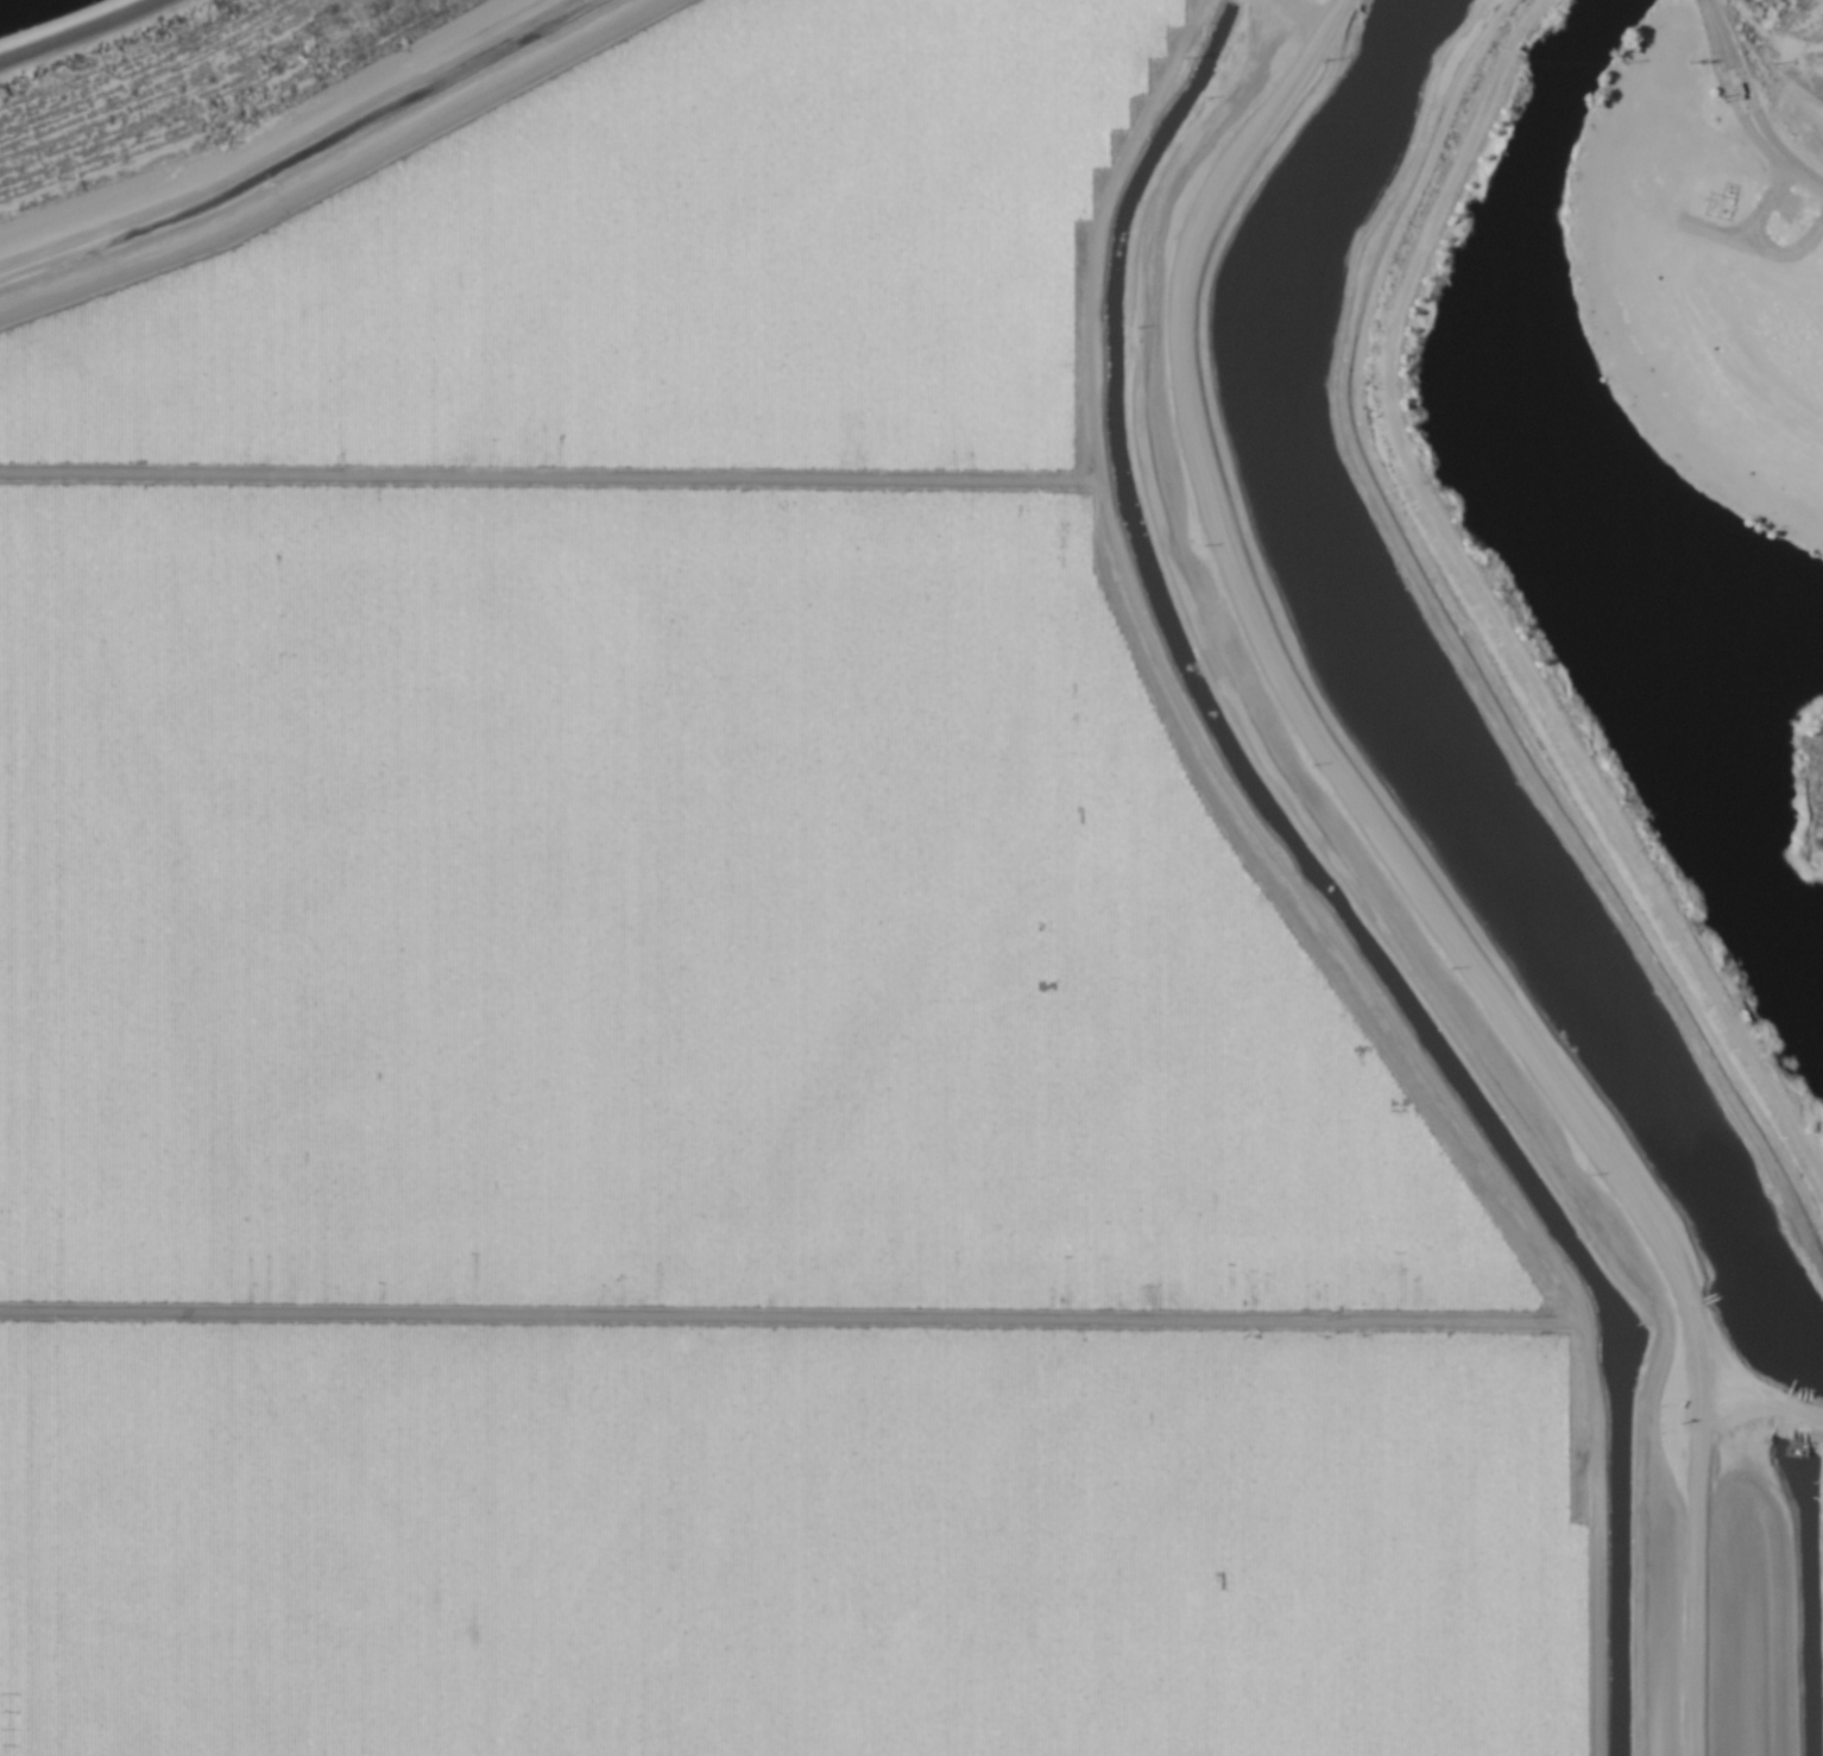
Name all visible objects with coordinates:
road: (75, 30)
road: (1747, 106)
road: (1375, 883)
crop: (776, 964)

